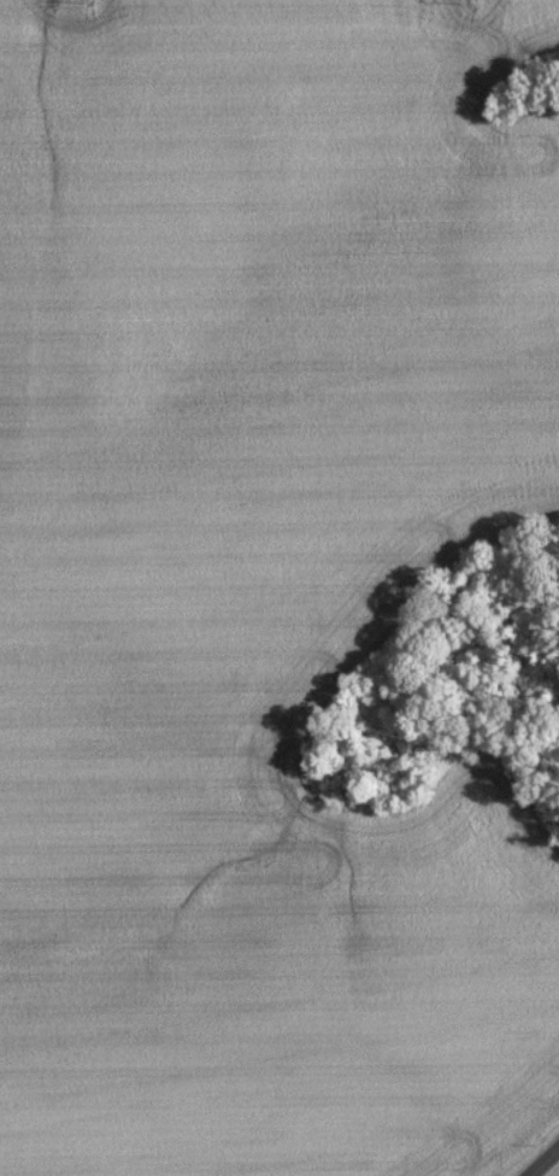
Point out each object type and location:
road: (548, 1168)

